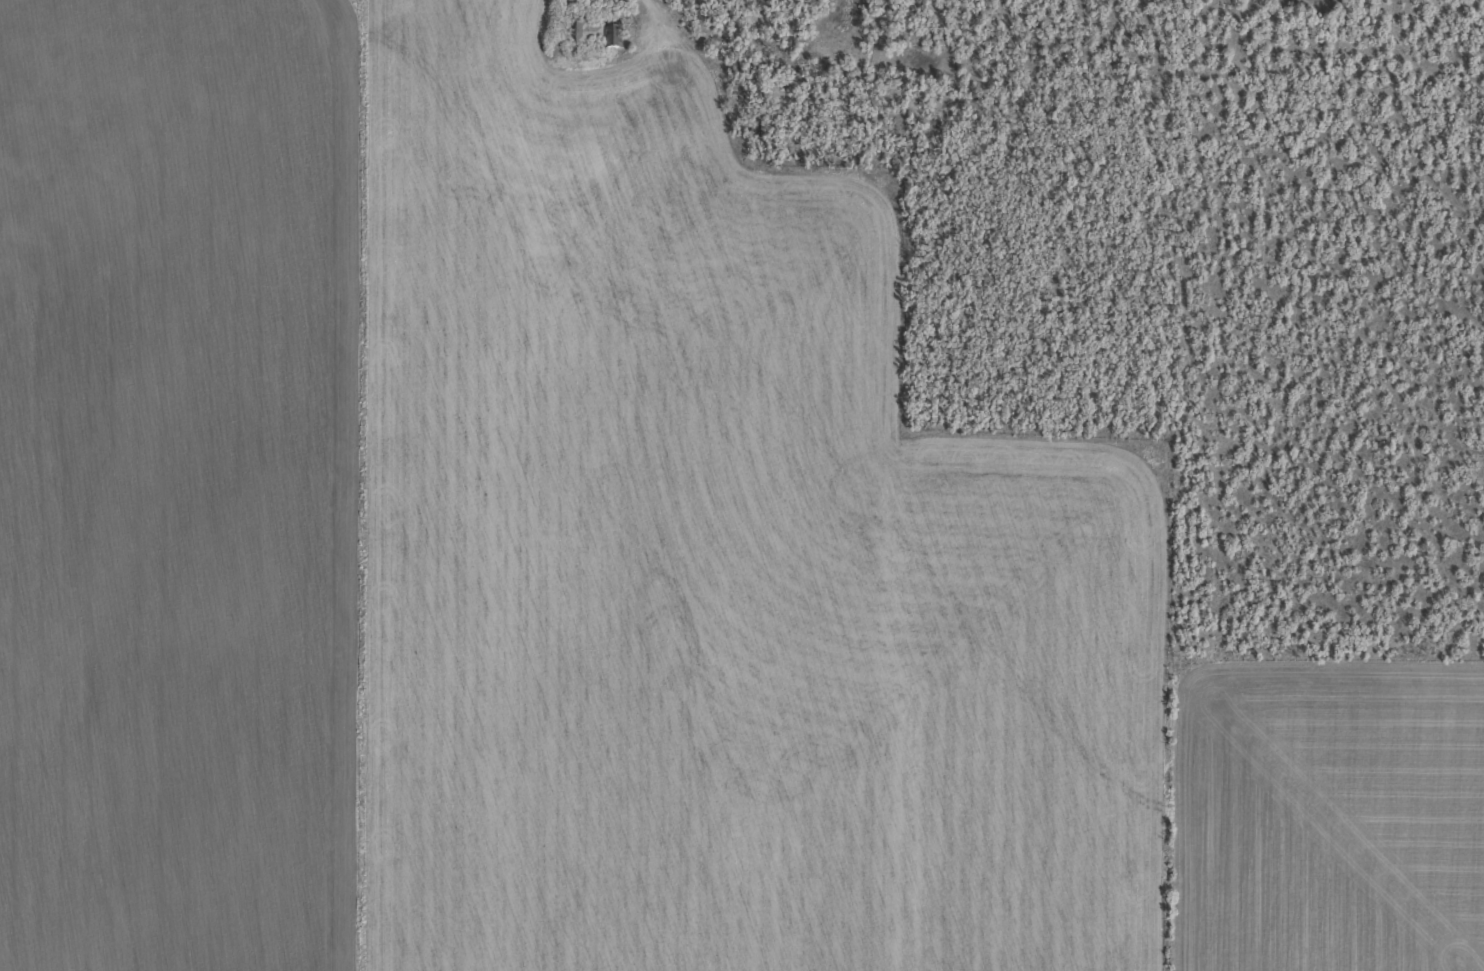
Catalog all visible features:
building: (571, 2)
building: (594, 31)

